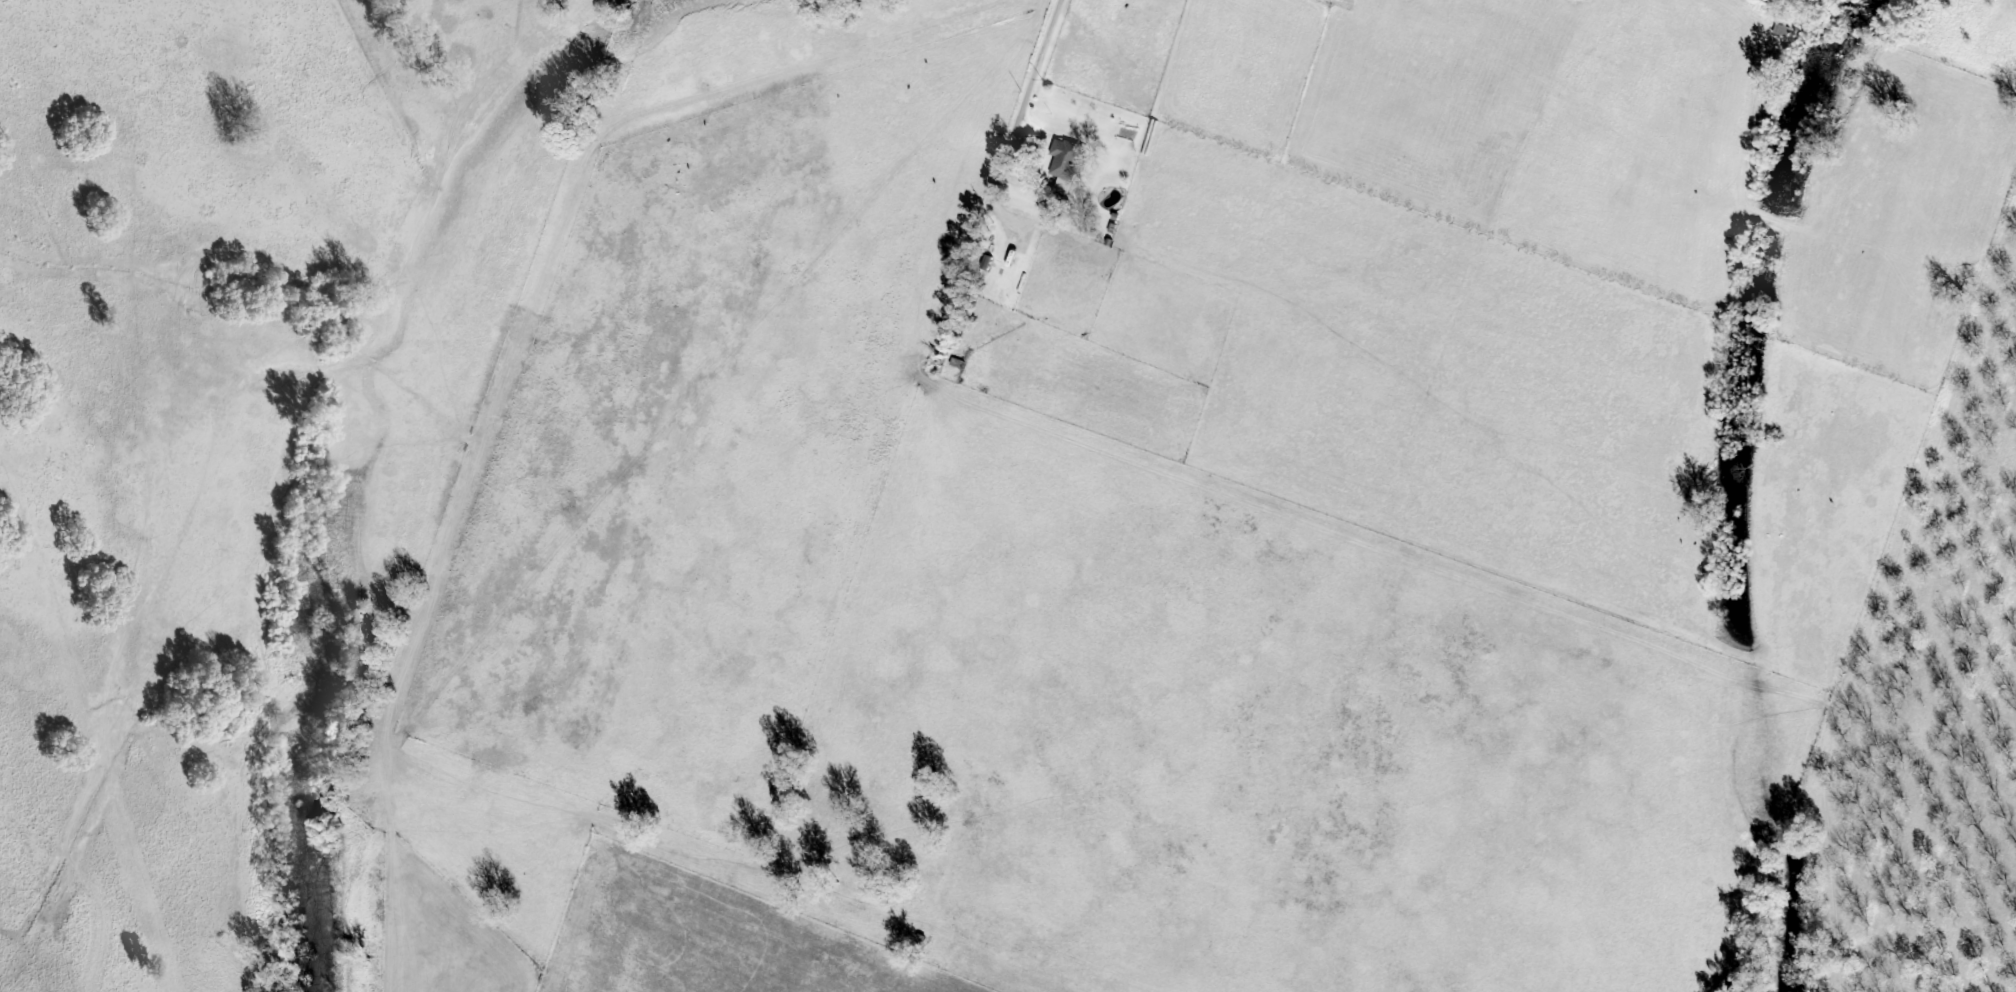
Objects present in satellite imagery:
building: (1064, 163)
road: (1000, 176)

